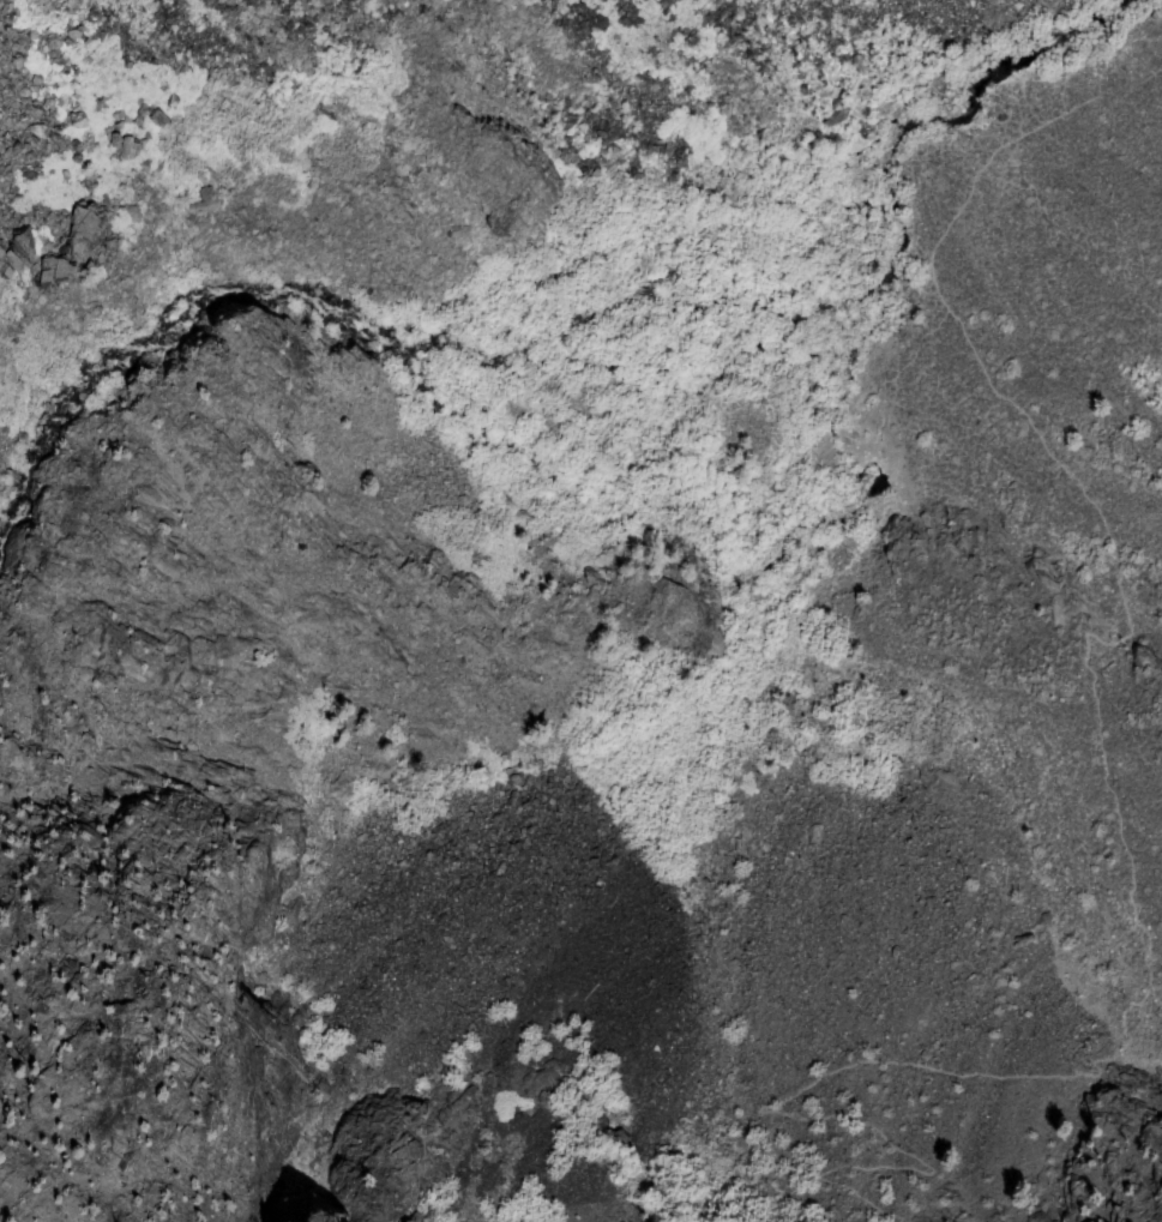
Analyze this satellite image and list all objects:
road: (1115, 814)

